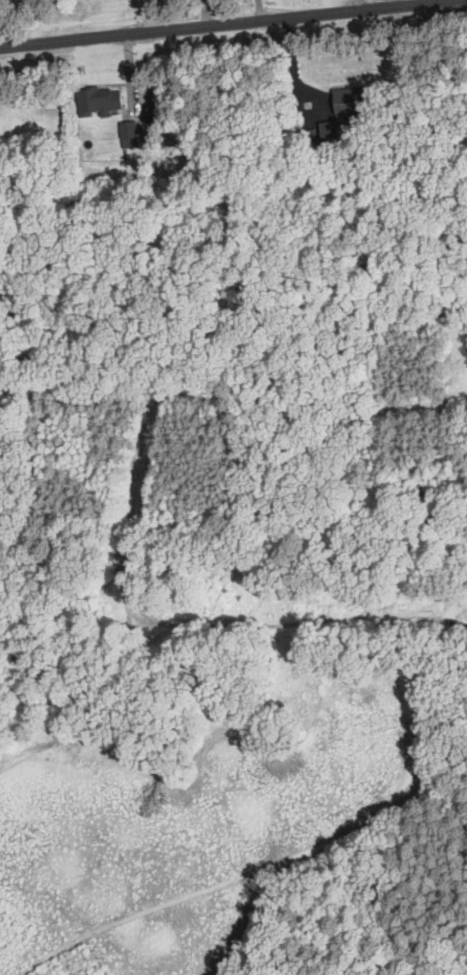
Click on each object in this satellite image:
road: (233, 29)
building: (98, 99)
building: (348, 102)
building: (129, 132)

